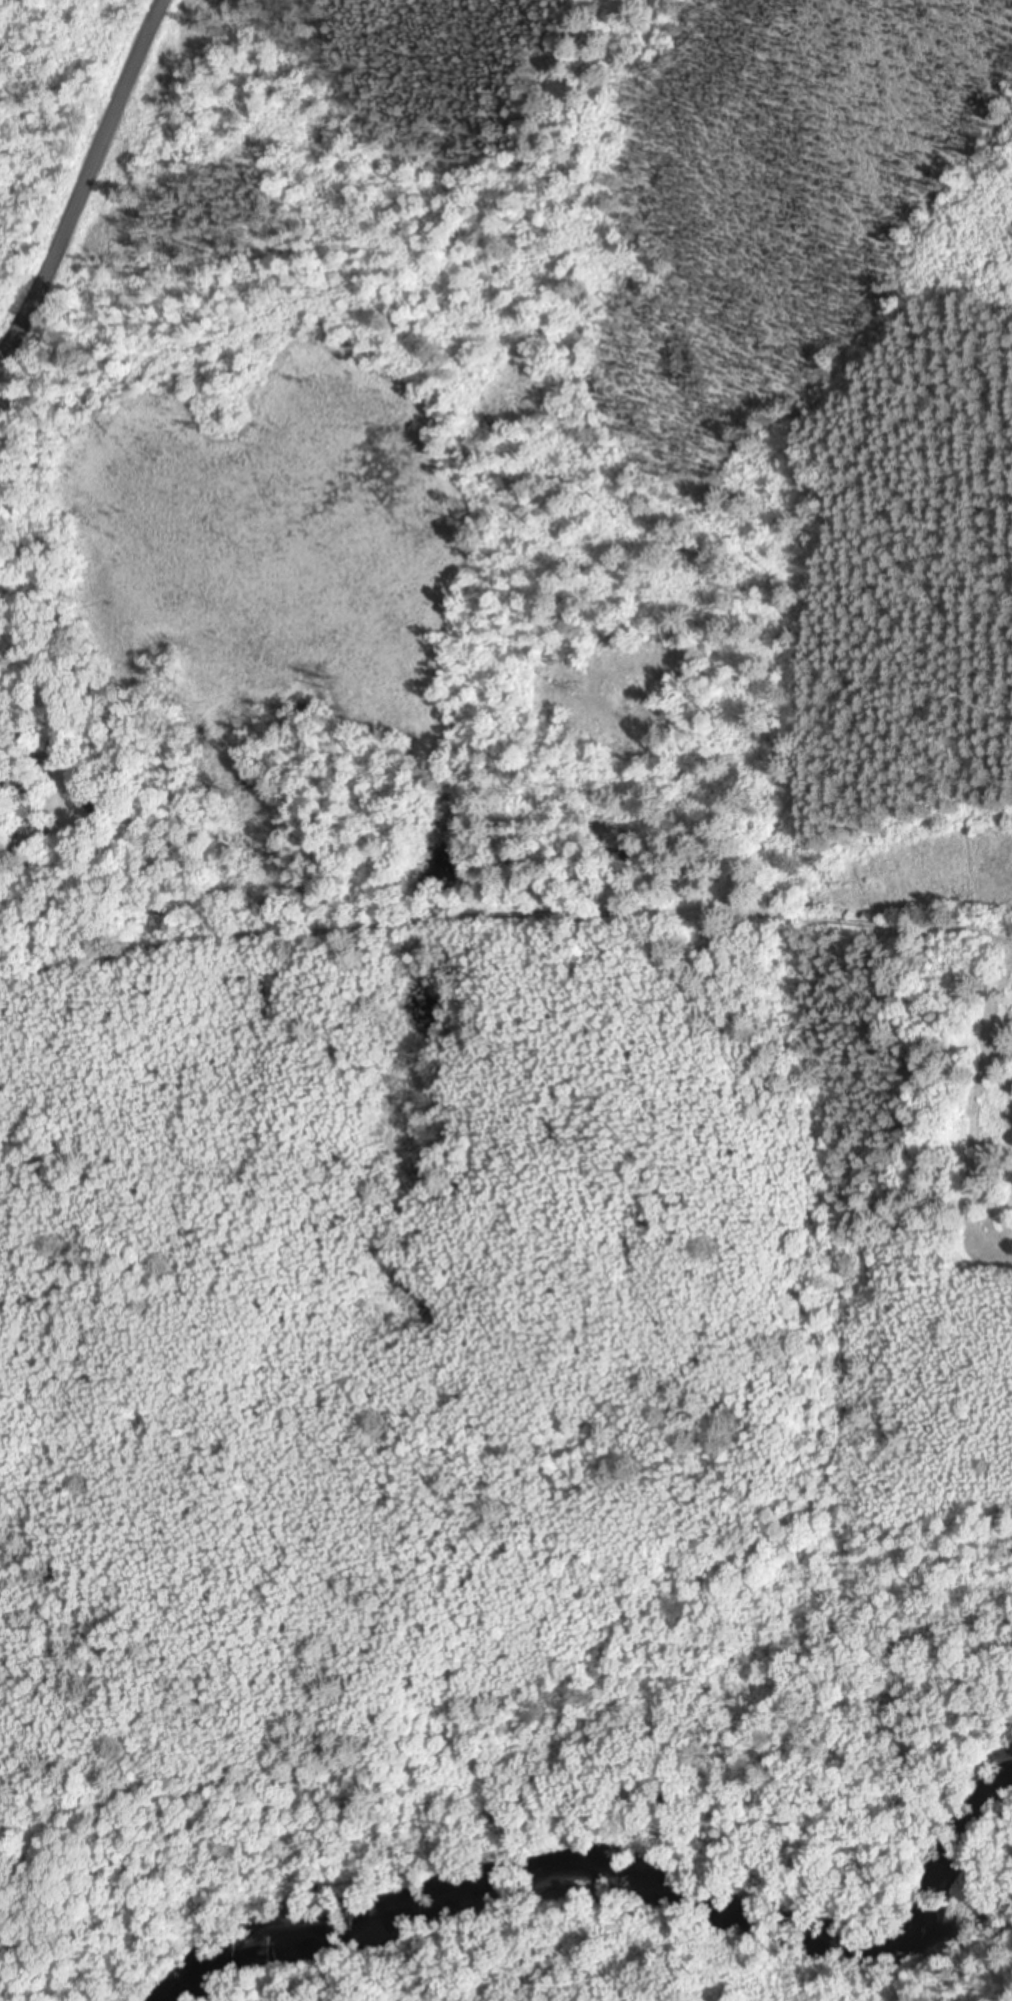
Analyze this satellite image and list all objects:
road: (84, 183)
road: (388, 921)
river: (646, 1883)

